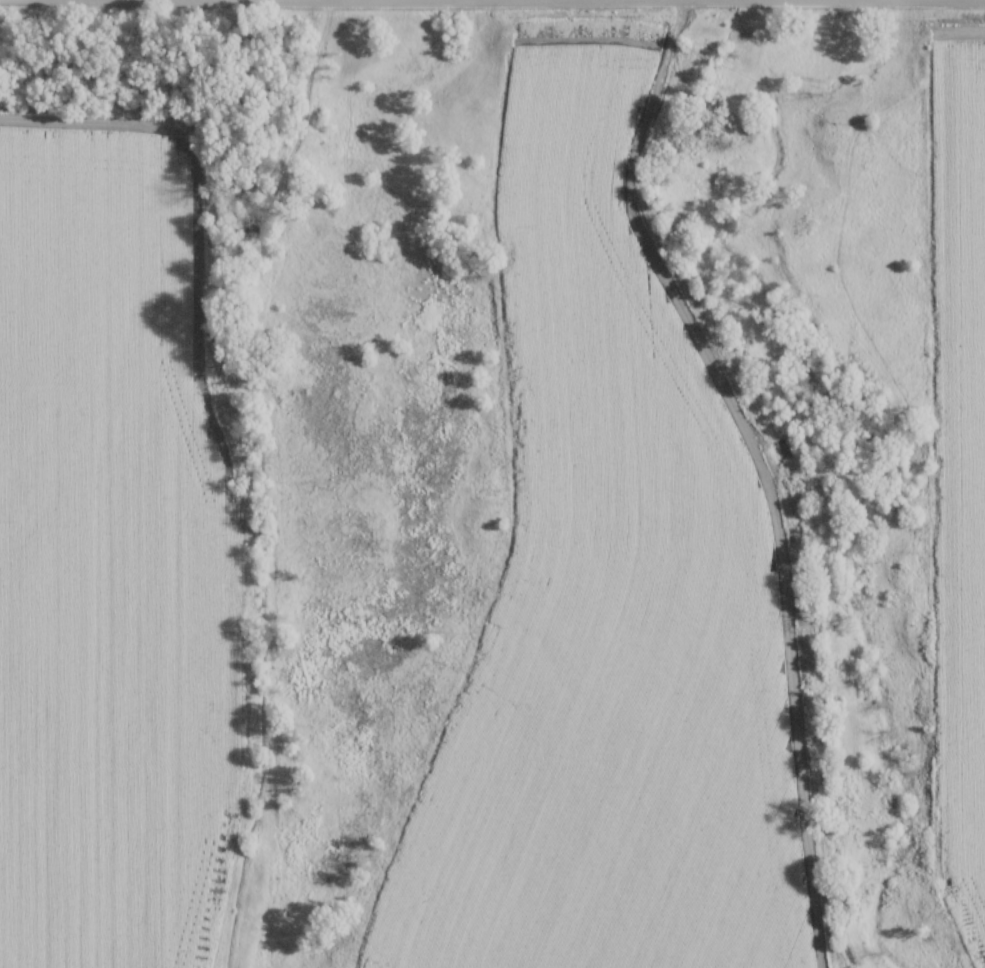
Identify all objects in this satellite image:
road: (641, 0)
building: (745, 398)
building: (762, 418)
crop: (963, 467)
crop: (108, 569)
crop: (607, 606)

